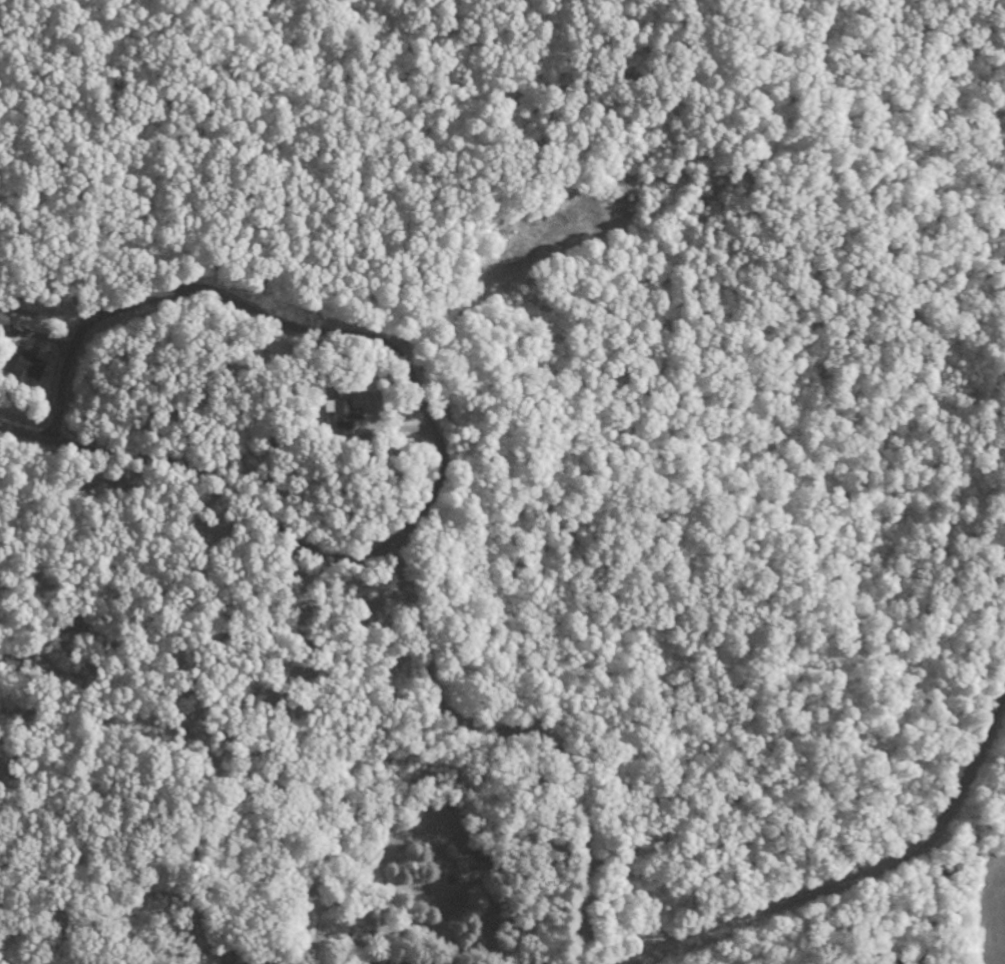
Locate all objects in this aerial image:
road: (382, 237)
building: (5, 321)
road: (289, 328)
building: (32, 369)
building: (344, 421)
road: (409, 593)
road: (859, 887)

